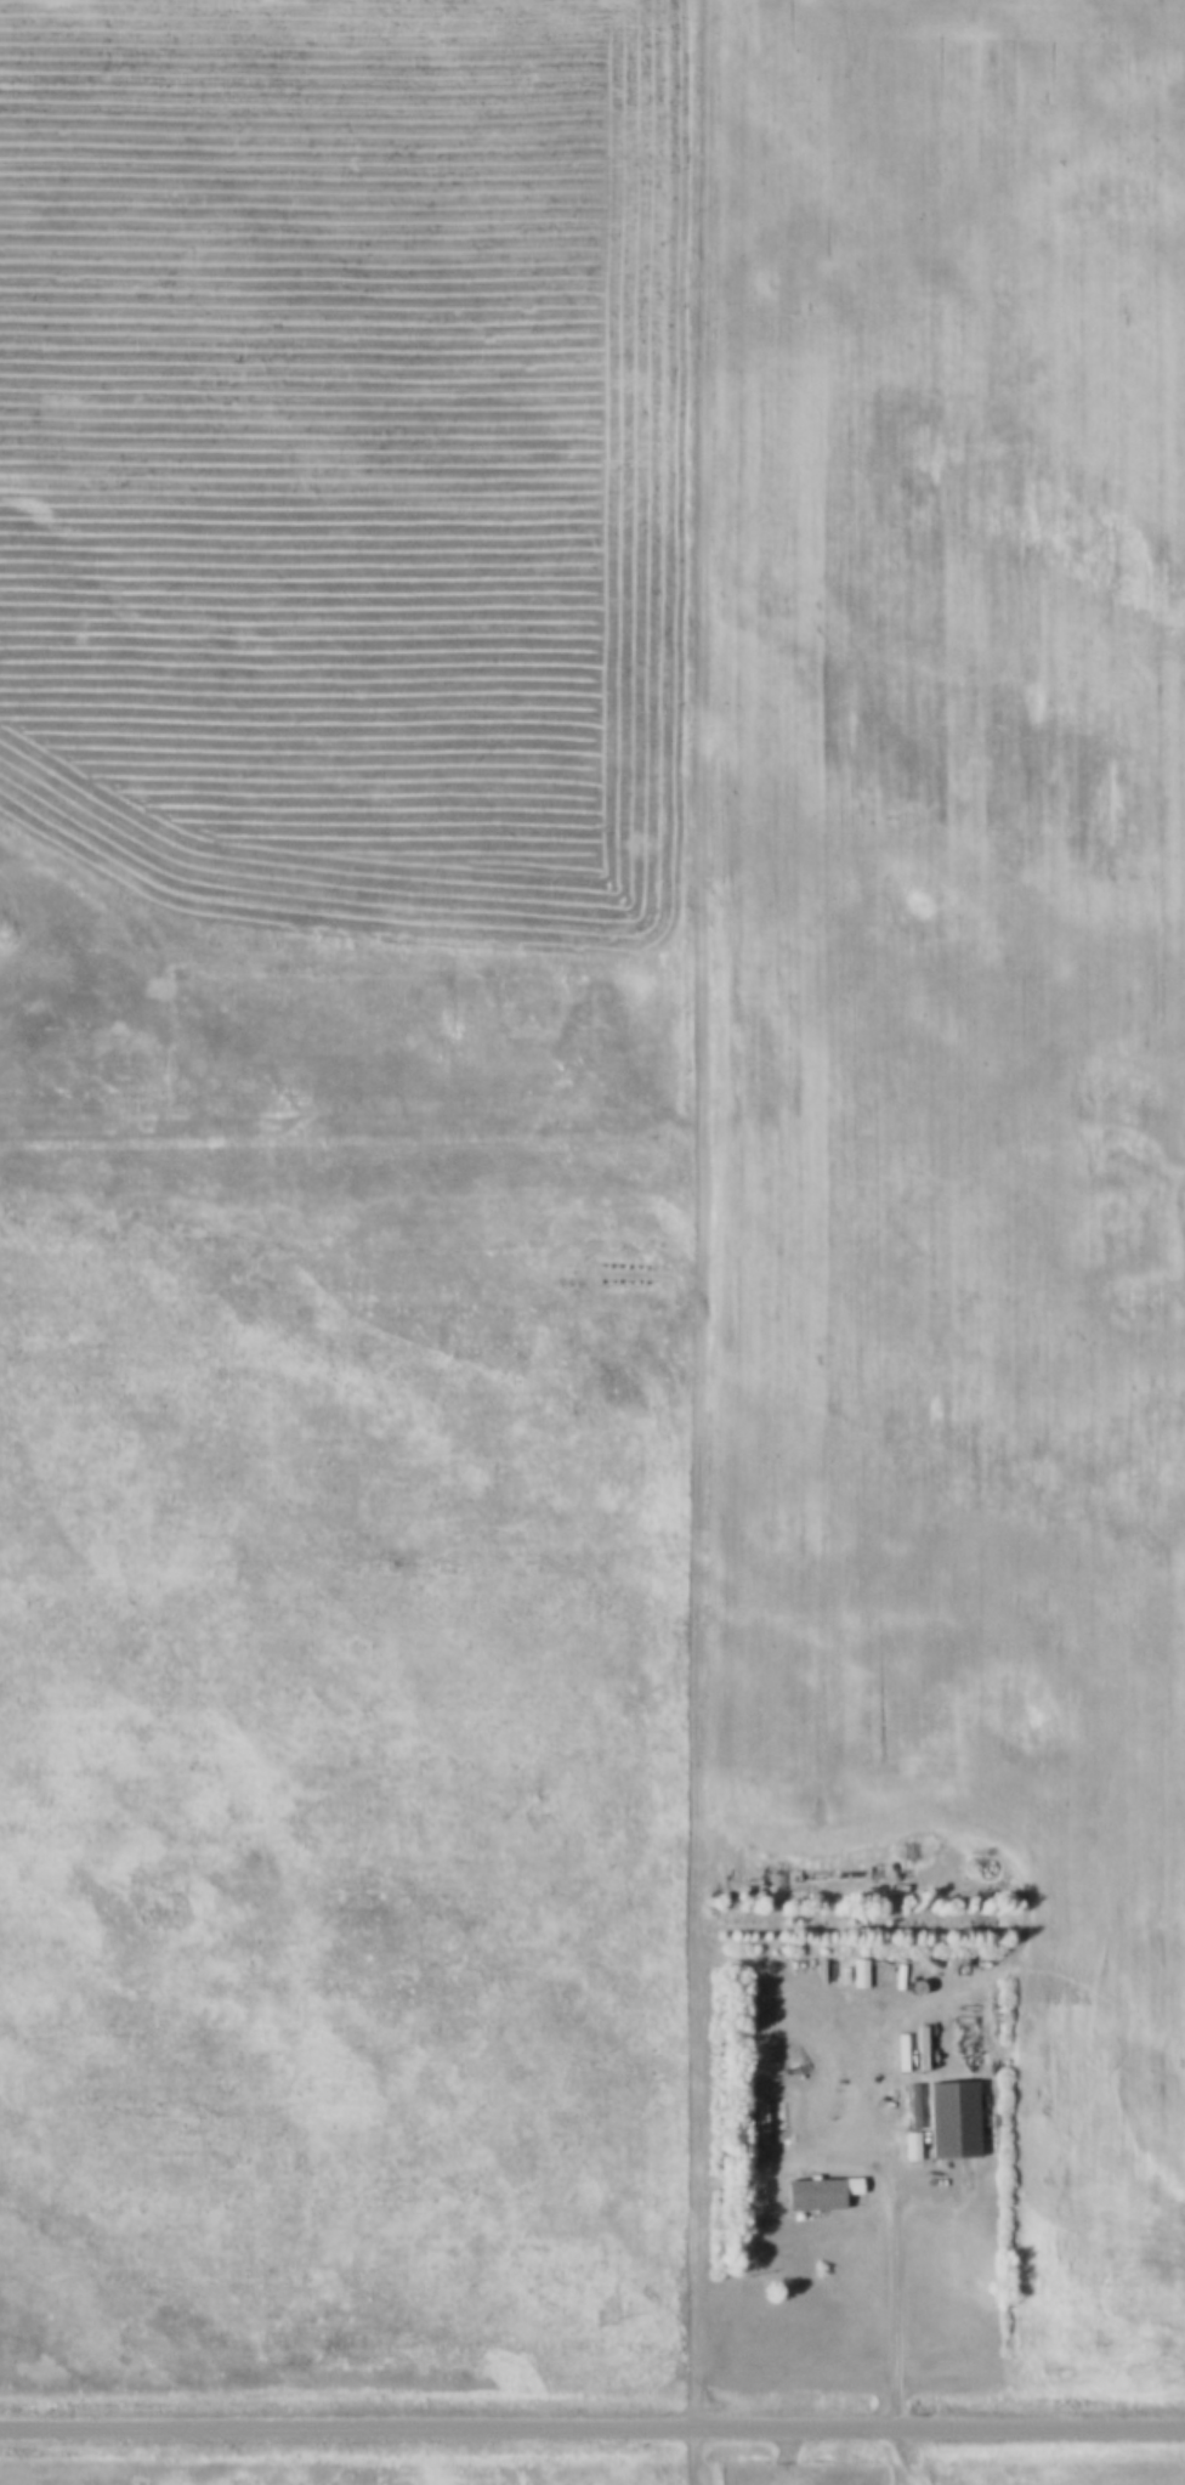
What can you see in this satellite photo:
road: (345, 1132)
road: (691, 1241)
building: (869, 1974)
building: (762, 2112)
building: (952, 2119)
building: (911, 2146)
building: (820, 2194)
road: (896, 2274)
road: (591, 2422)

